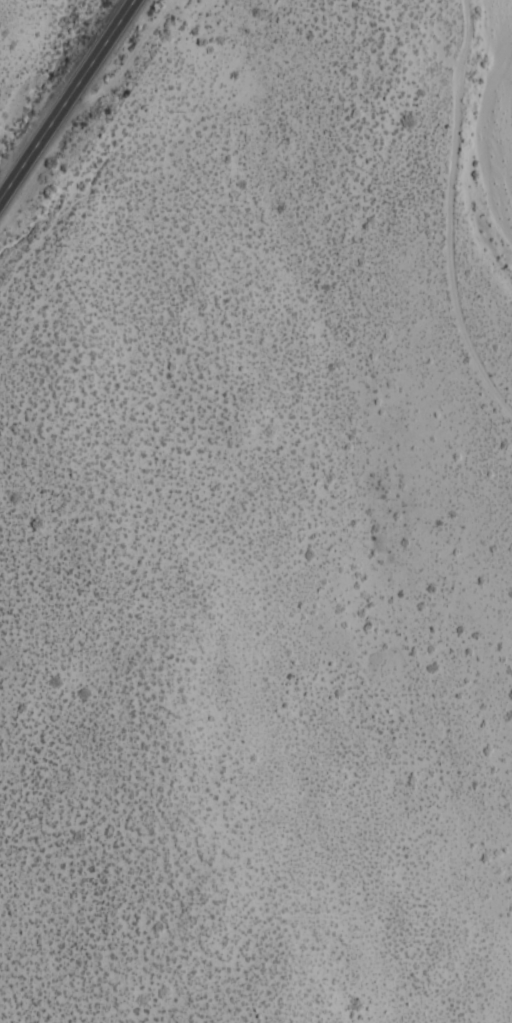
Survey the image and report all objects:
road: (68, 101)

